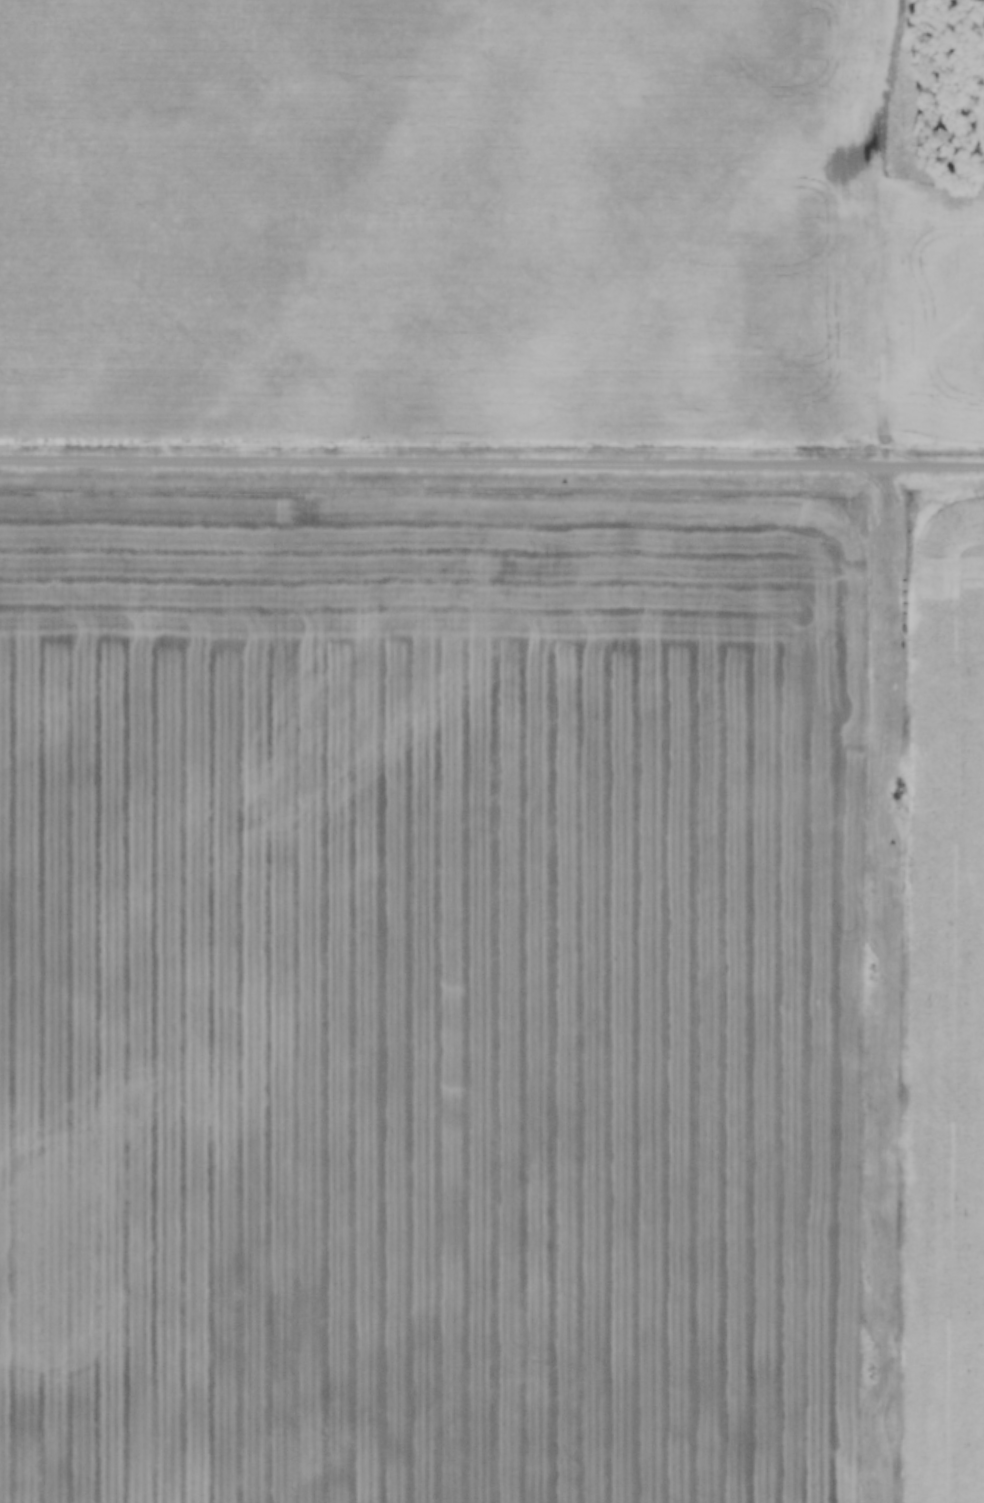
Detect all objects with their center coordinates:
road: (880, 232)
road: (492, 466)
road: (882, 986)

